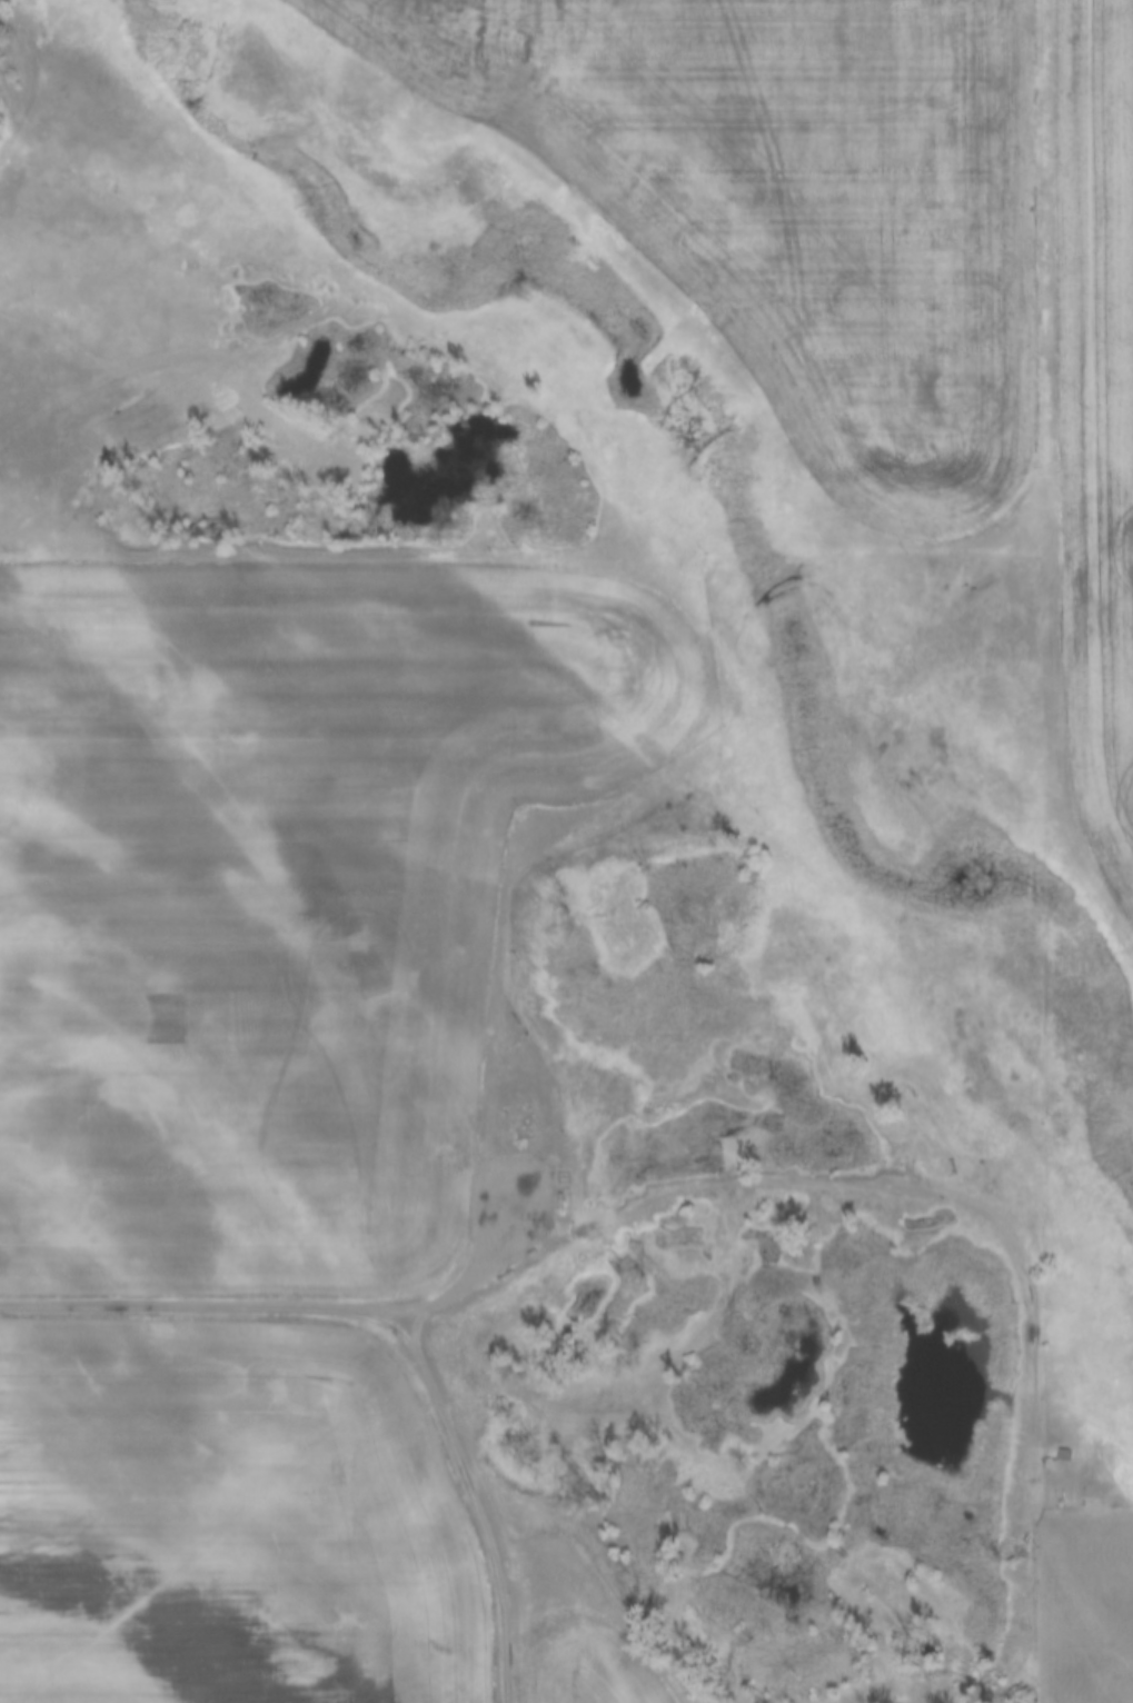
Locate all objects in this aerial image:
road: (987, 1212)
road: (485, 1278)
road: (186, 1305)
building: (1046, 1442)
building: (1060, 1454)
road: (473, 1493)
building: (1006, 1687)

